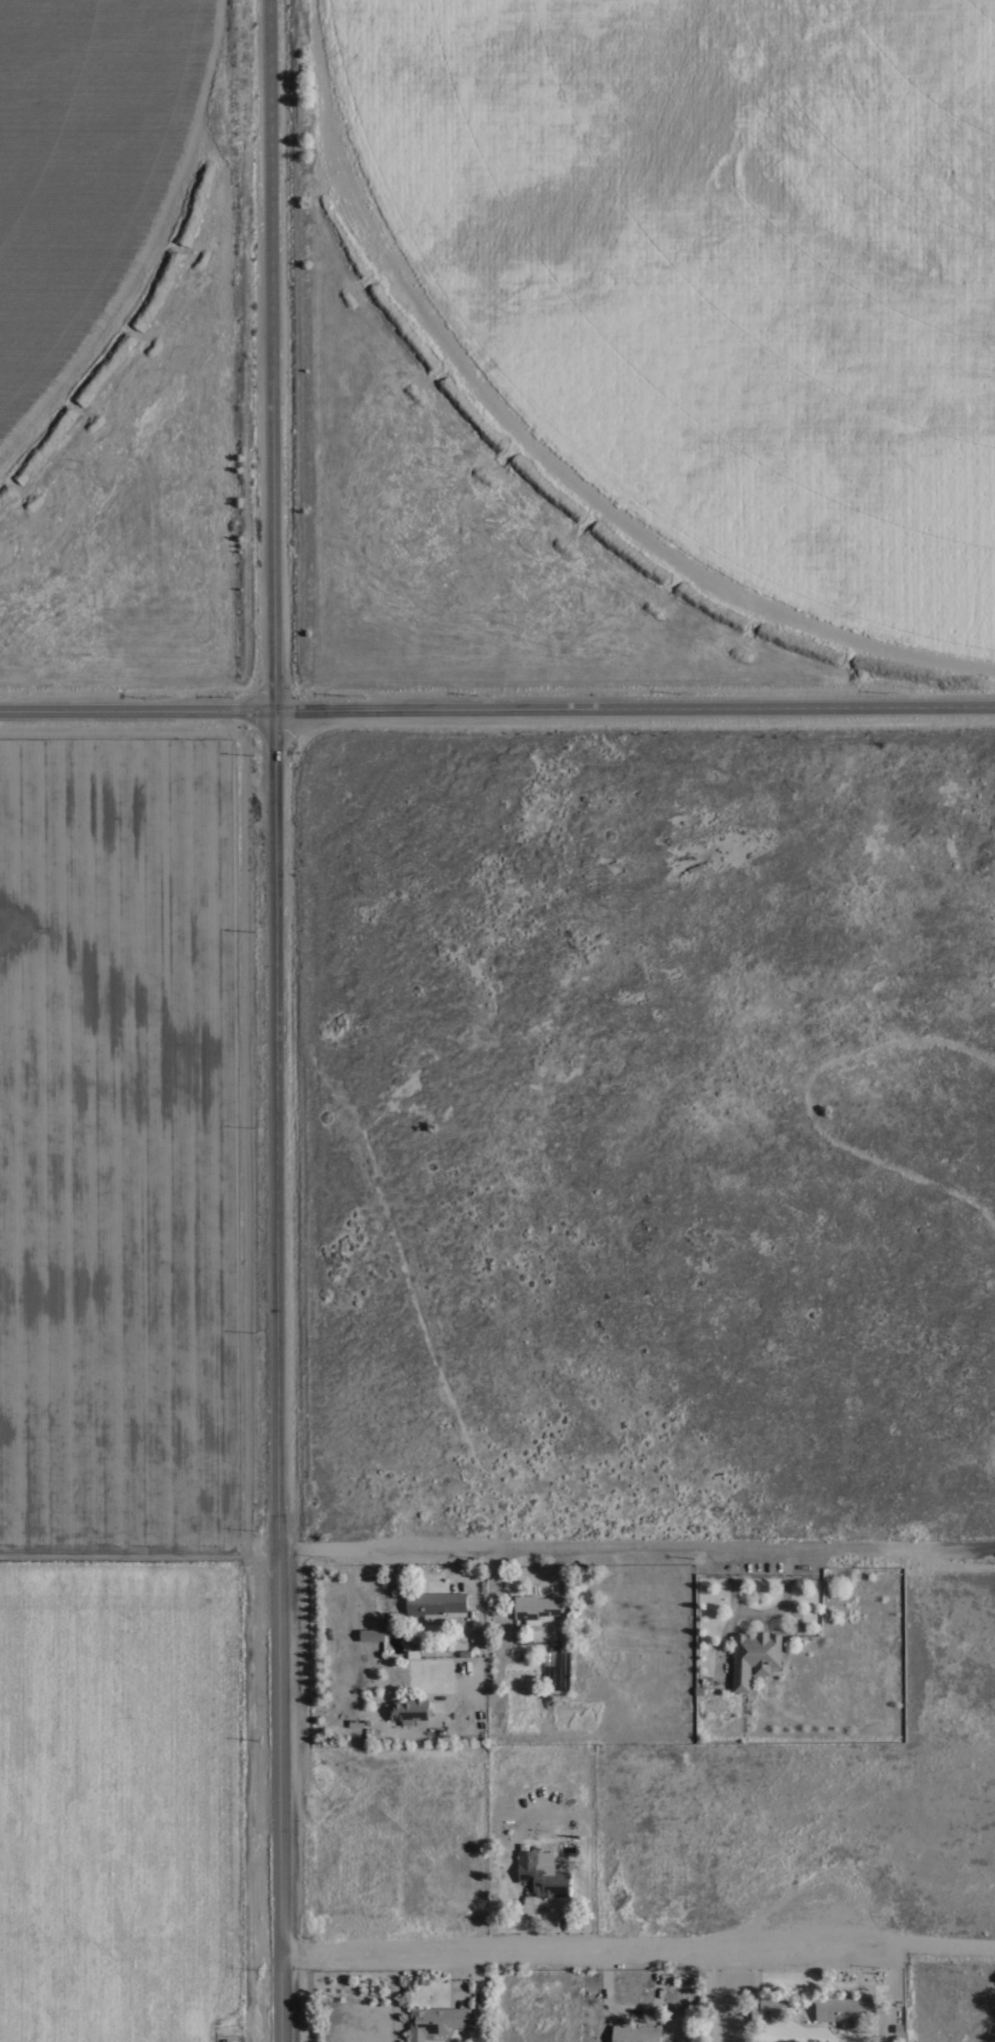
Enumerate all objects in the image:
crop: (93, 179)
road: (497, 714)
road: (273, 1021)
road: (634, 1053)
crop: (144, 1143)
road: (637, 1553)
building: (434, 1604)
building: (537, 1608)
building: (372, 1635)
building: (549, 1657)
building: (754, 1657)
building: (409, 1710)
building: (543, 1873)
road: (640, 1953)
building: (844, 2008)
building: (768, 2009)
building: (435, 2022)
building: (635, 2033)

